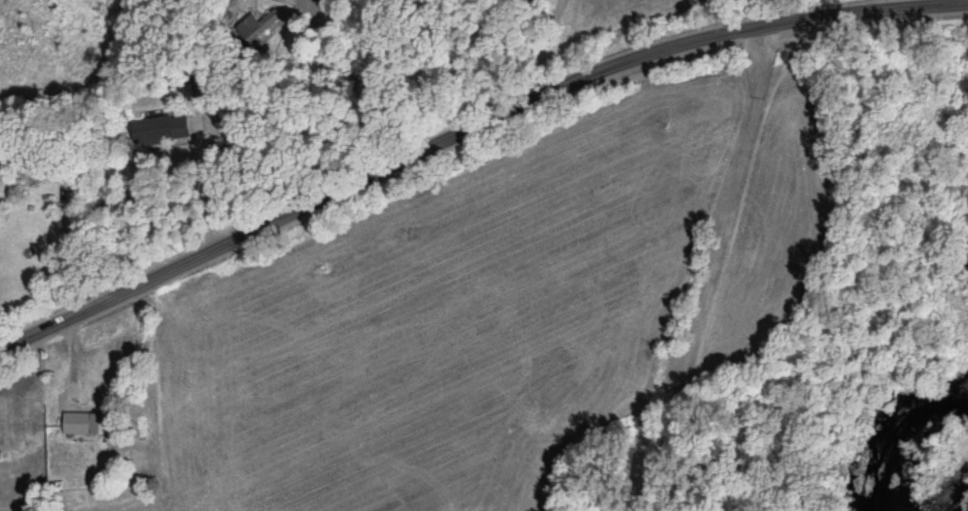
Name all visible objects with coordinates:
building: (266, 22)
road: (556, 52)
road: (304, 117)
building: (168, 127)
road: (472, 138)
road: (211, 185)
building: (96, 421)

